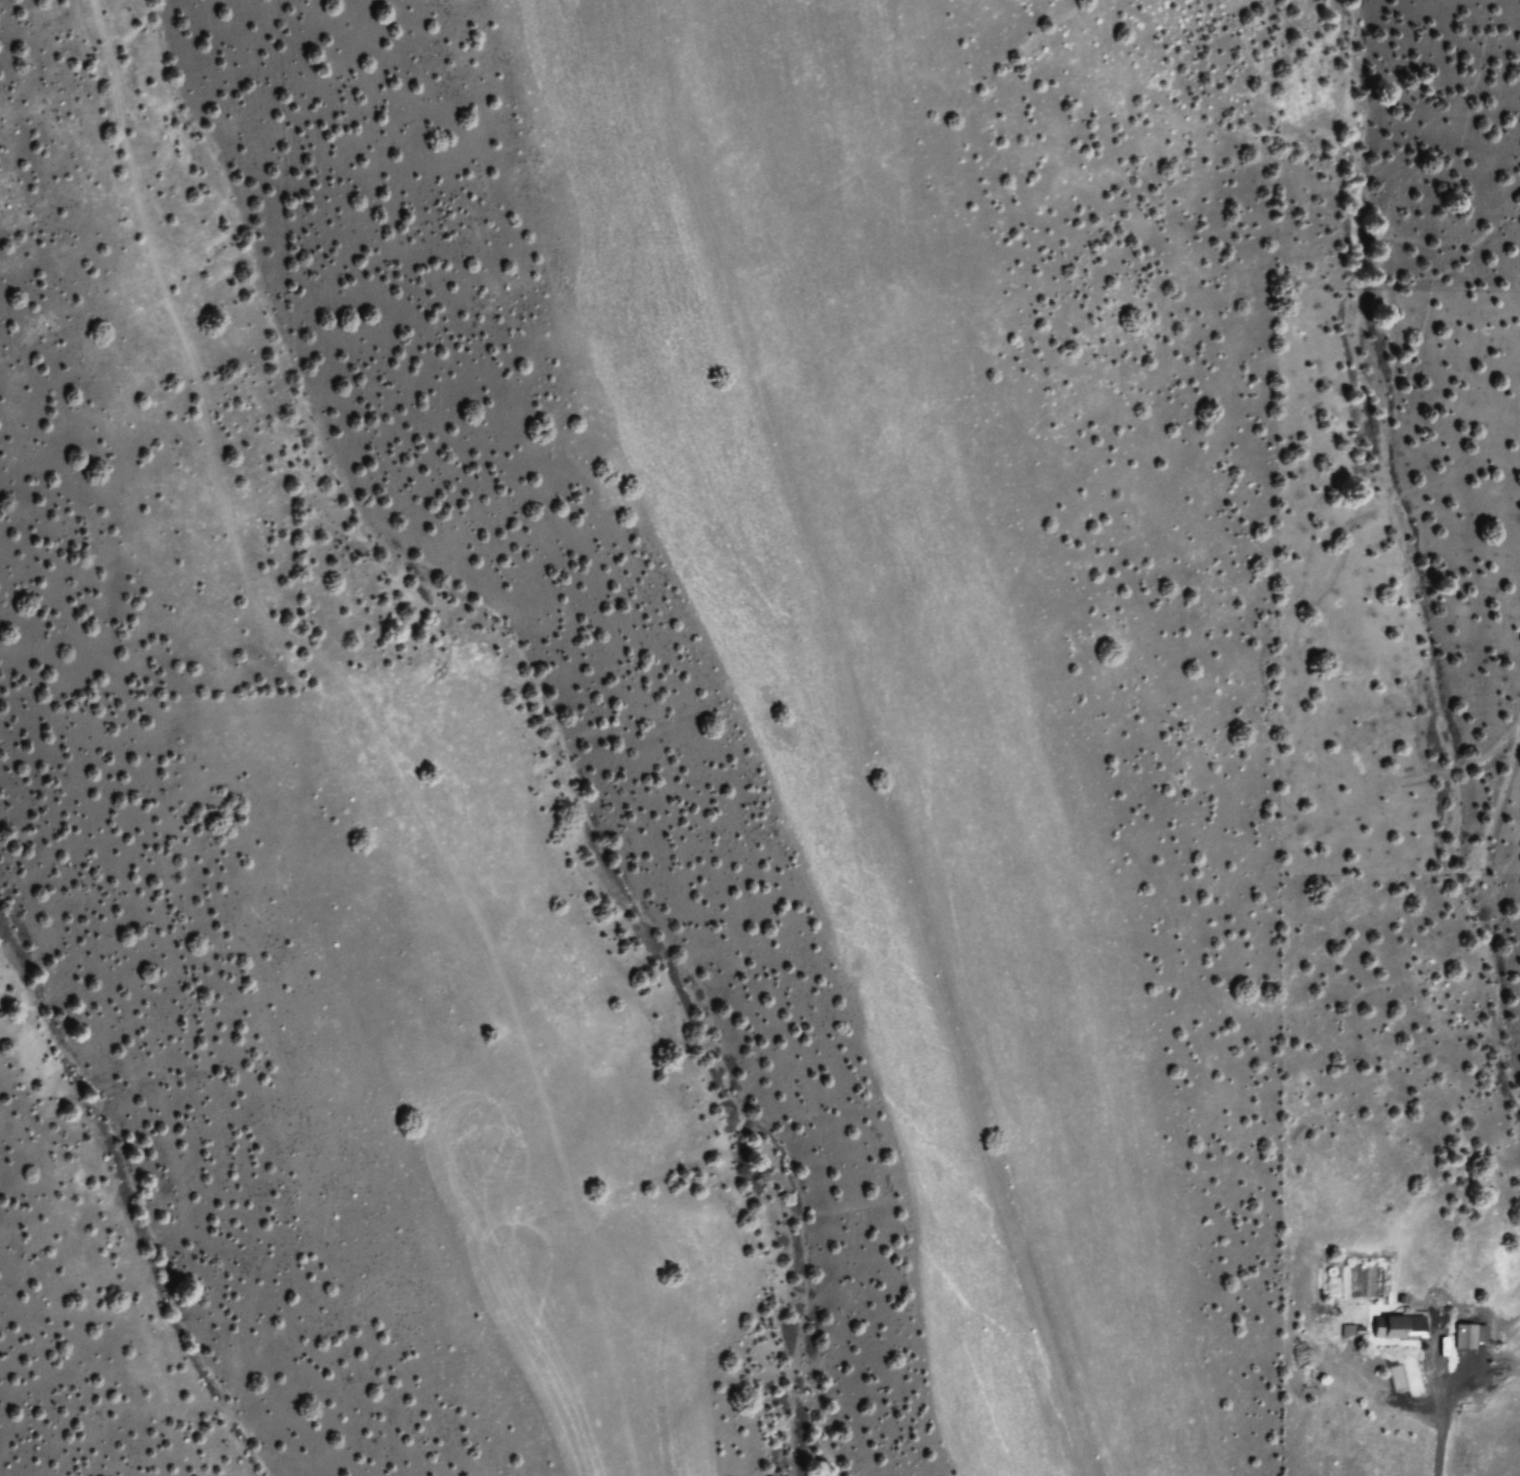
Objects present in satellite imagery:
building: (1397, 1327)
building: (1463, 1336)

